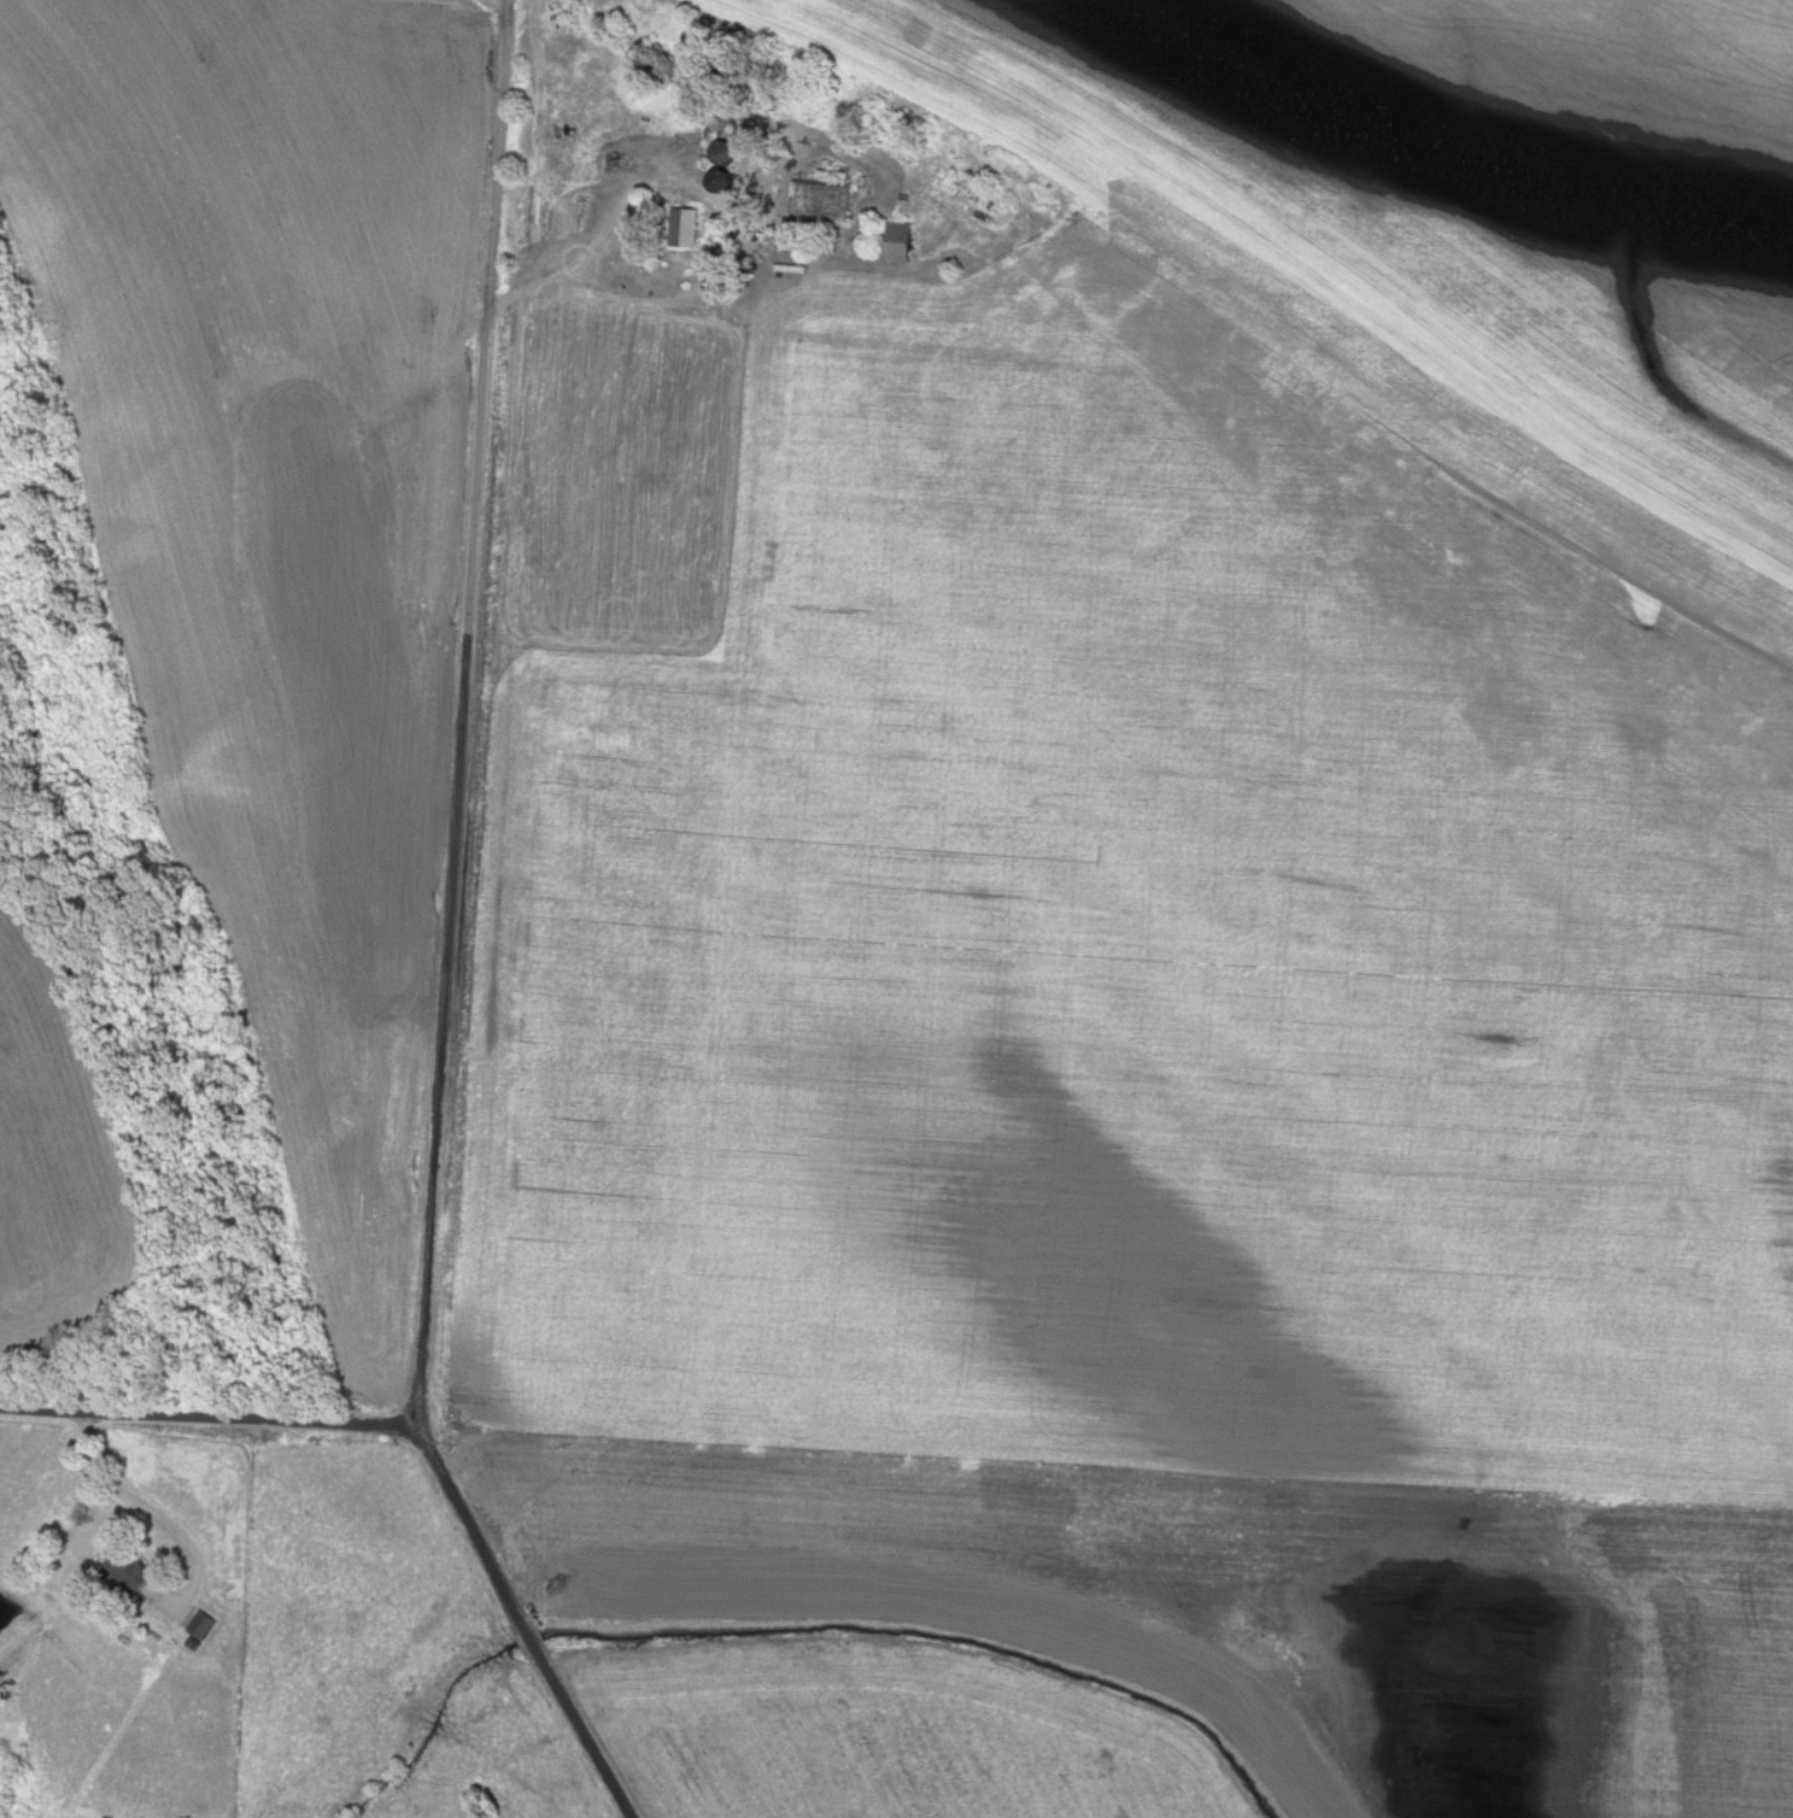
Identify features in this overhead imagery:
building: (819, 199)
crop: (1449, 206)
building: (681, 225)
building: (896, 240)
road: (633, 300)
crop: (271, 541)
road: (467, 711)
crop: (1107, 911)
crop: (58, 1157)
road: (207, 1413)
road: (146, 1507)
building: (125, 1570)
crop: (1234, 1611)
road: (529, 1618)
building: (199, 1624)
crop: (885, 1726)

